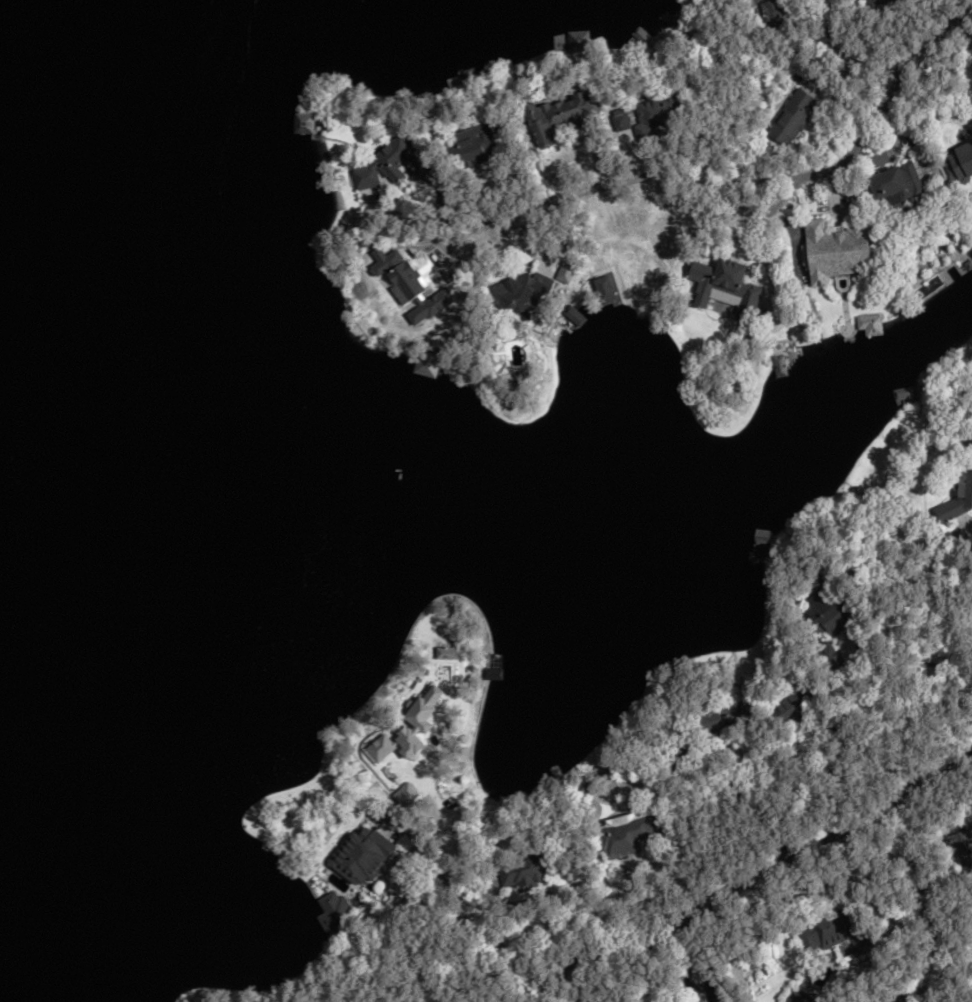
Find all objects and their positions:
building: (876, 2)
building: (770, 12)
building: (579, 43)
road: (842, 53)
building: (655, 112)
building: (562, 115)
building: (791, 116)
building: (309, 121)
building: (474, 144)
building: (392, 161)
building: (962, 161)
road: (764, 179)
building: (897, 185)
building: (837, 250)
building: (724, 281)
building: (519, 293)
building: (775, 367)
building: (902, 396)
building: (960, 497)
building: (829, 606)
building: (489, 666)
building: (793, 700)
building: (721, 721)
road: (932, 779)
building: (629, 834)
building: (963, 840)
building: (362, 856)
building: (526, 870)
road: (933, 900)
road: (711, 911)
building: (331, 912)
building: (835, 930)
road: (474, 942)
building: (801, 998)

